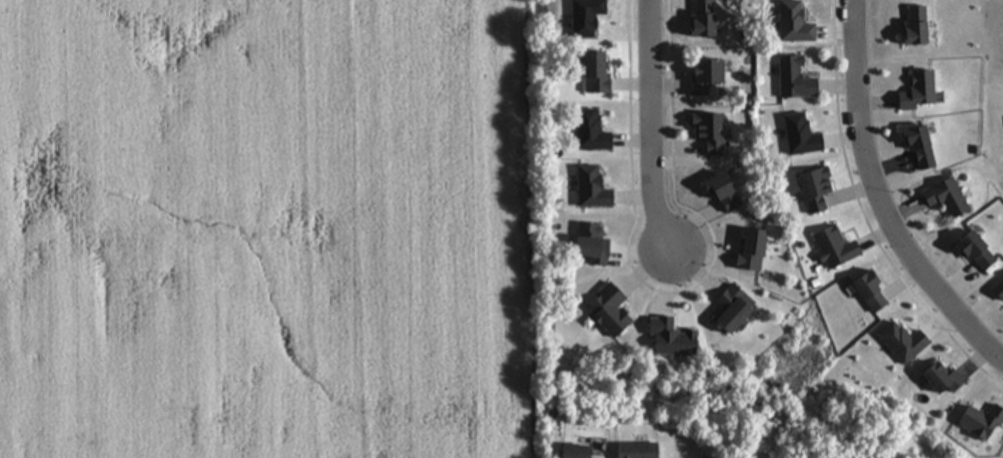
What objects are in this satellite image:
building: (701, 75)
building: (792, 78)
building: (922, 87)
road: (663, 130)
building: (706, 132)
building: (916, 145)
building: (811, 188)
road: (884, 196)
building: (943, 197)
building: (587, 244)
building: (831, 247)
building: (729, 308)
building: (938, 379)
building: (634, 450)
building: (570, 451)

